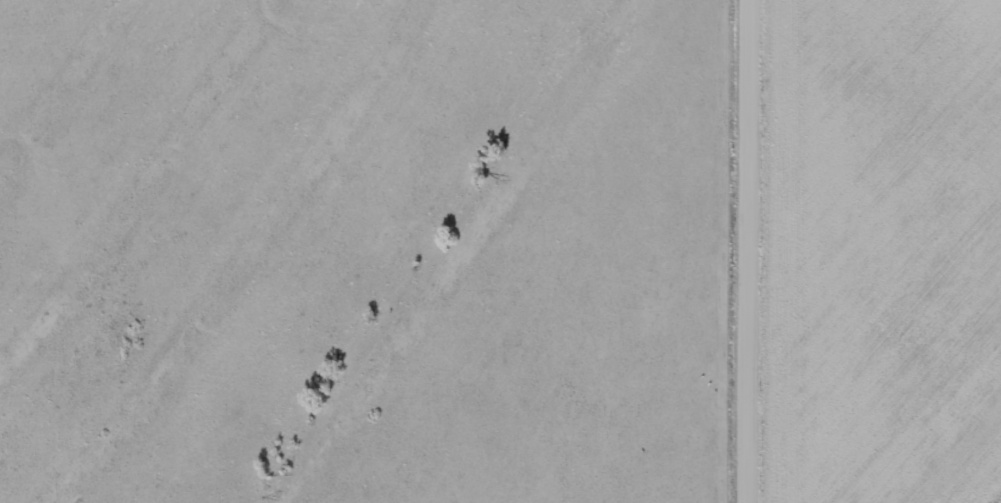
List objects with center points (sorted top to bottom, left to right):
road: (755, 251)
railway: (990, 491)

